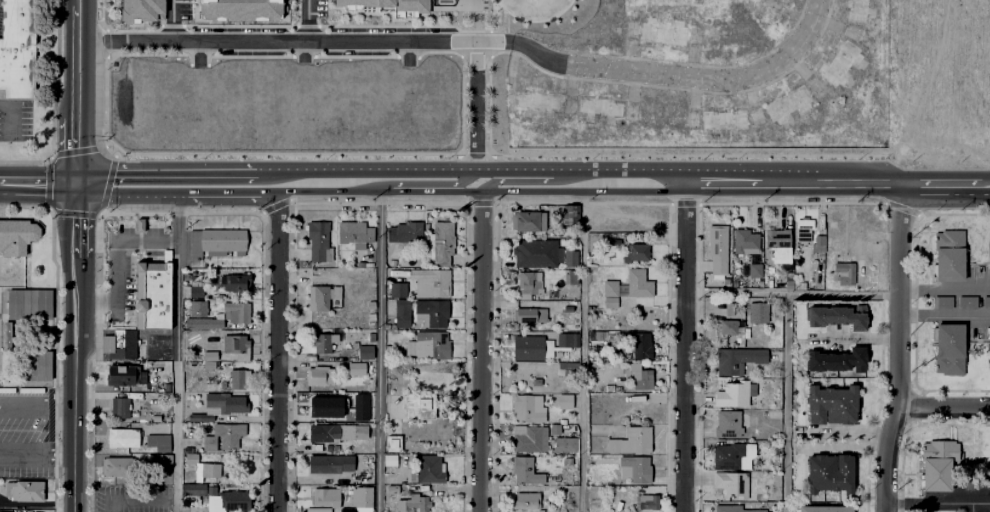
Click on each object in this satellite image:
building: (387, 4)
building: (238, 9)
building: (139, 10)
building: (854, 10)
road: (307, 20)
road: (171, 21)
building: (660, 28)
building: (724, 29)
road: (275, 41)
building: (18, 48)
building: (838, 60)
road: (76, 61)
road: (664, 73)
building: (534, 97)
building: (785, 100)
building: (592, 102)
road: (475, 104)
building: (658, 110)
road: (10, 116)
building: (720, 116)
road: (76, 153)
road: (384, 168)
road: (532, 168)
road: (623, 168)
road: (164, 171)
road: (258, 171)
road: (467, 179)
road: (494, 179)
road: (38, 183)
traffic signals: (76, 184)
road: (751, 184)
road: (858, 184)
road: (944, 185)
road: (424, 190)
road: (572, 190)
road: (333, 191)
road: (125, 195)
road: (226, 195)
building: (568, 214)
building: (522, 217)
road: (75, 223)
building: (139, 226)
building: (801, 227)
building: (350, 229)
building: (405, 230)
building: (15, 236)
building: (774, 237)
building: (742, 238)
building: (318, 239)
building: (215, 240)
building: (441, 242)
building: (818, 244)
building: (715, 246)
building: (634, 249)
building: (945, 251)
building: (541, 255)
building: (988, 256)
road: (116, 259)
building: (752, 268)
building: (769, 269)
building: (844, 270)
building: (566, 275)
building: (234, 280)
building: (431, 280)
building: (635, 281)
building: (524, 282)
building: (796, 283)
building: (607, 285)
building: (397, 287)
road: (943, 287)
building: (195, 289)
road: (790, 293)
building: (320, 294)
building: (152, 295)
building: (965, 299)
building: (940, 300)
building: (985, 300)
building: (27, 302)
building: (566, 302)
building: (196, 306)
road: (75, 309)
building: (237, 309)
building: (401, 310)
building: (431, 310)
building: (759, 310)
building: (528, 312)
road: (943, 314)
building: (839, 316)
building: (203, 320)
building: (728, 324)
building: (594, 333)
building: (6, 334)
building: (561, 337)
building: (322, 339)
building: (118, 342)
building: (236, 343)
building: (430, 343)
building: (638, 344)
building: (525, 345)
building: (944, 346)
road: (684, 347)
building: (360, 348)
road: (896, 348)
building: (989, 348)
road: (276, 351)
road: (377, 351)
road: (480, 351)
road: (582, 351)
road: (175, 353)
building: (209, 357)
building: (734, 357)
building: (839, 360)
building: (37, 365)
building: (356, 367)
building: (564, 367)
building: (120, 372)
building: (319, 374)
building: (639, 376)
building: (237, 377)
building: (534, 380)
building: (730, 392)
road: (63, 394)
building: (225, 400)
building: (562, 400)
road: (26, 401)
road: (785, 401)
building: (419, 403)
building: (121, 405)
building: (832, 405)
building: (525, 406)
building: (360, 407)
building: (326, 408)
road: (942, 408)
building: (199, 415)
building: (726, 422)
building: (360, 430)
building: (322, 431)
road: (74, 433)
building: (223, 435)
building: (121, 436)
building: (528, 438)
building: (629, 440)
building: (158, 441)
building: (392, 441)
building: (726, 454)
road: (26, 459)
building: (565, 459)
road: (63, 460)
building: (158, 461)
building: (390, 462)
building: (935, 462)
building: (331, 465)
building: (201, 466)
building: (633, 466)
building: (120, 467)
building: (425, 468)
building: (523, 469)
building: (830, 473)
building: (969, 480)
building: (730, 481)
building: (191, 487)
building: (392, 488)
building: (23, 491)
building: (592, 494)
building: (325, 495)
parking lot: (131, 497)
building: (232, 498)
building: (361, 498)
building: (524, 498)
building: (646, 499)
road: (132, 500)
building: (414, 502)
road: (937, 502)
building: (820, 507)
road: (970, 507)
building: (315, 508)
building: (732, 508)
building: (2, 511)

